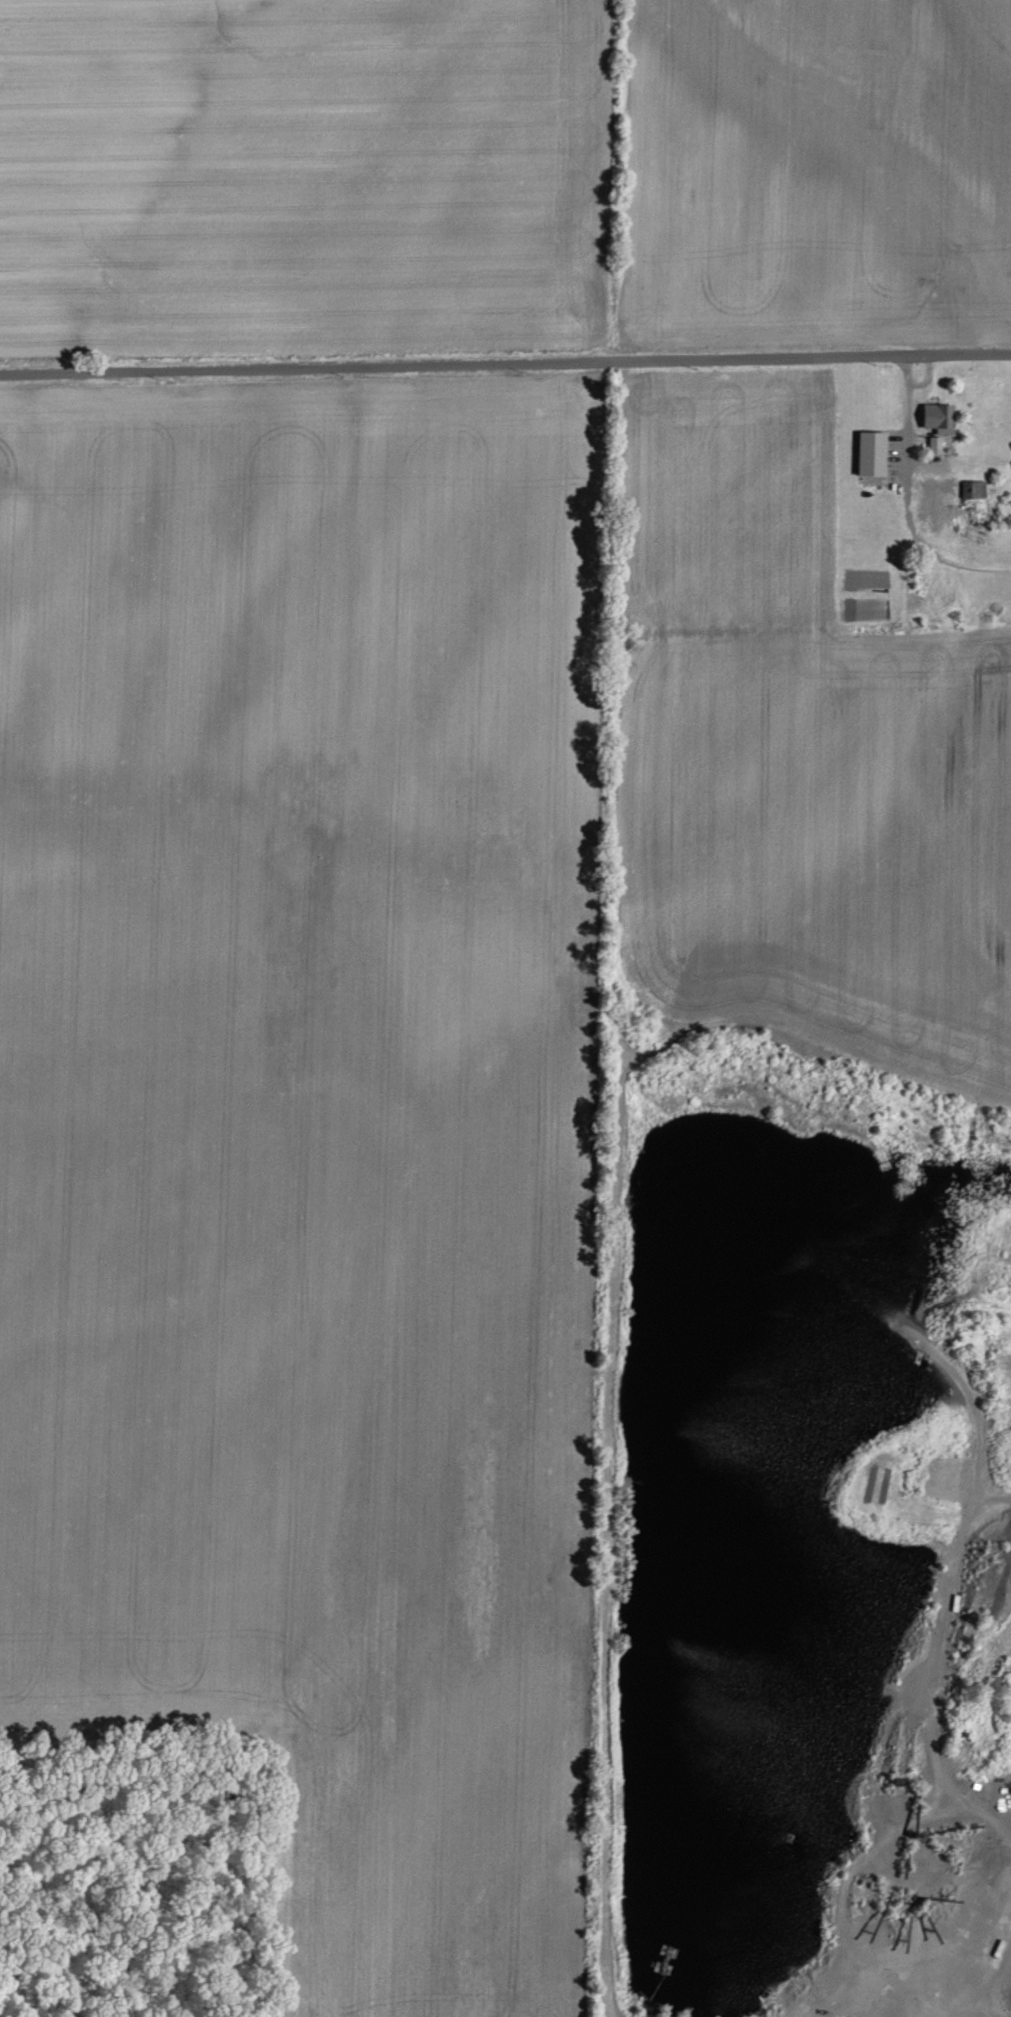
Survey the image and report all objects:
road: (505, 361)
building: (942, 417)
building: (938, 443)
building: (874, 451)
building: (975, 488)
road: (916, 491)
road: (976, 1412)
road: (934, 1671)
road: (995, 1983)

